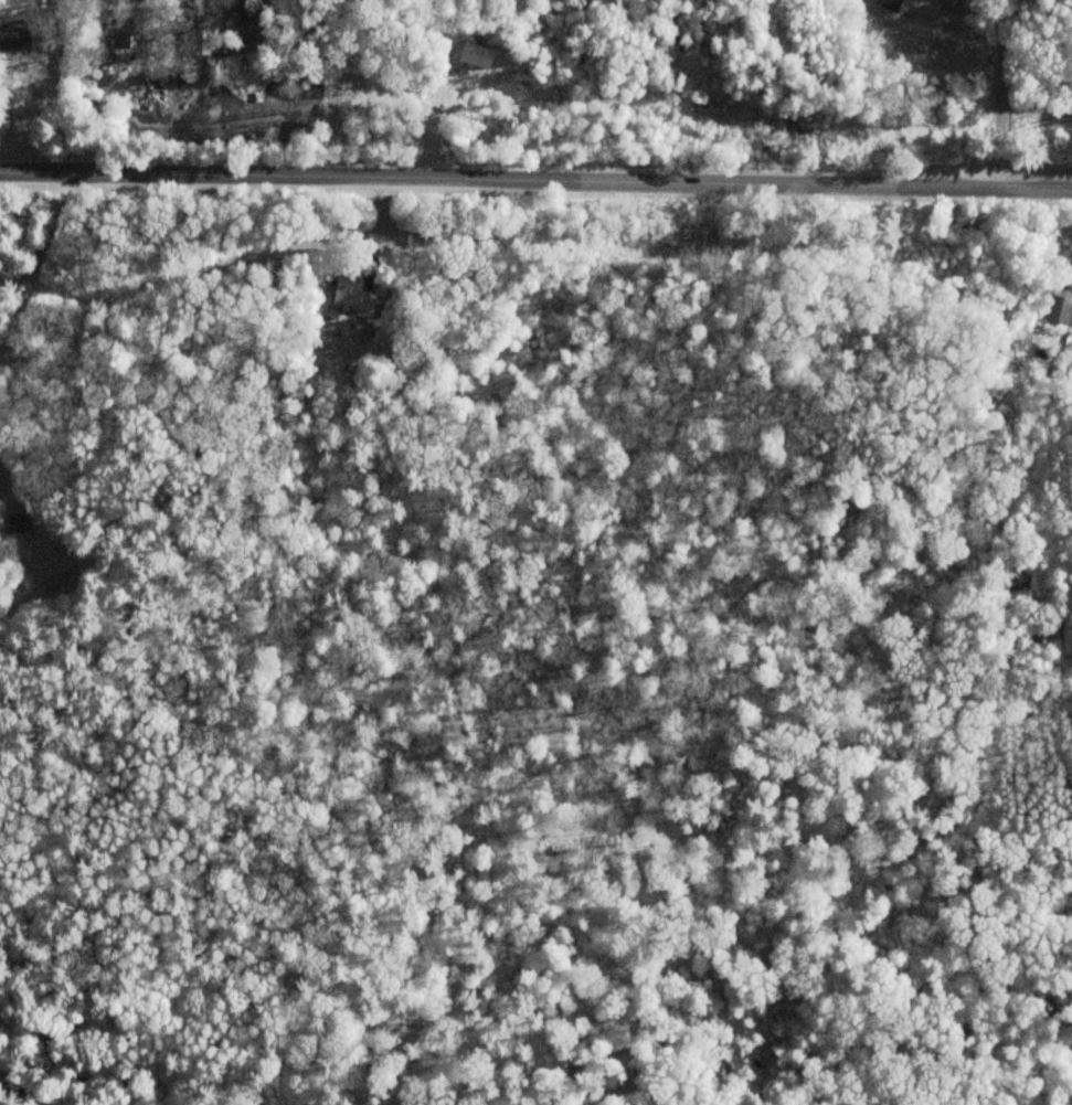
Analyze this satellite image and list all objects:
building: (10, 41)
building: (107, 42)
road: (997, 94)
road: (35, 104)
road: (535, 181)
building: (348, 297)
building: (20, 523)

